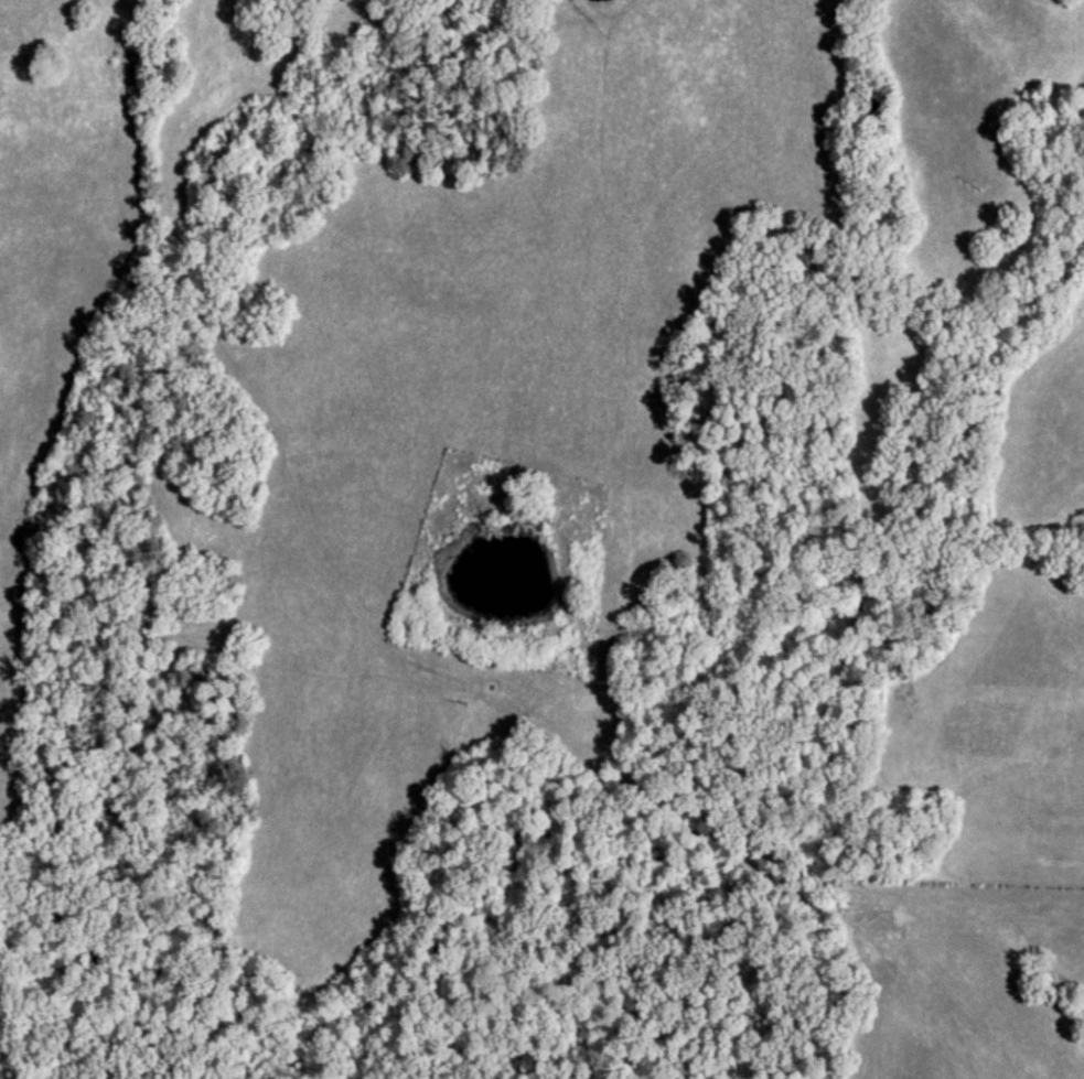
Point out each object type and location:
road: (598, 98)

